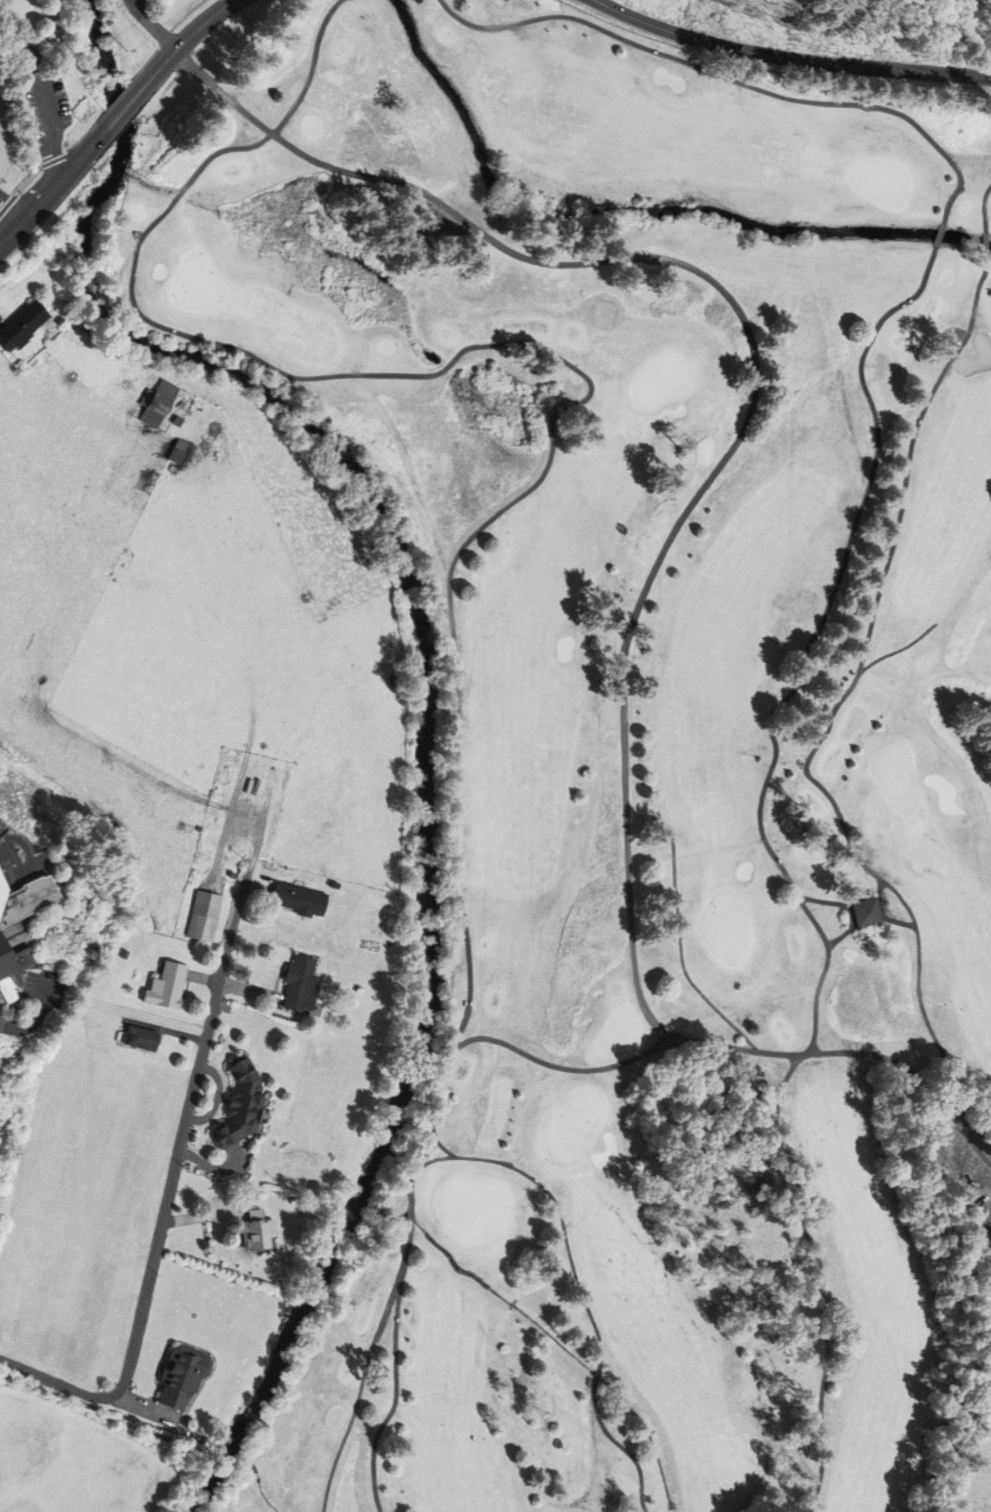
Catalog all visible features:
road: (152, 26)
road: (186, 39)
road: (36, 47)
road: (788, 59)
park: (44, 71)
road: (732, 79)
parking lot: (44, 102)
road: (122, 111)
road: (49, 117)
road: (46, 164)
road: (27, 180)
road: (51, 194)
road: (8, 203)
road: (984, 208)
road: (10, 215)
road: (941, 236)
road: (987, 244)
building: (26, 323)
road: (591, 381)
building: (162, 405)
building: (176, 452)
road: (675, 530)
road: (899, 649)
road: (842, 699)
park: (640, 735)
road: (26, 848)
road: (781, 866)
building: (301, 899)
building: (865, 912)
building: (207, 915)
building: (21, 926)
road: (682, 957)
building: (303, 984)
building: (169, 986)
parking lot: (44, 990)
parking lot: (1, 1006)
road: (33, 1018)
building: (143, 1038)
road: (560, 1067)
building: (243, 1104)
road: (439, 1140)
road: (169, 1195)
road: (558, 1206)
building: (381, 1211)
road: (412, 1219)
building: (261, 1234)
road: (366, 1372)
building: (185, 1375)
road: (597, 1377)
road: (396, 1396)
road: (623, 1446)

